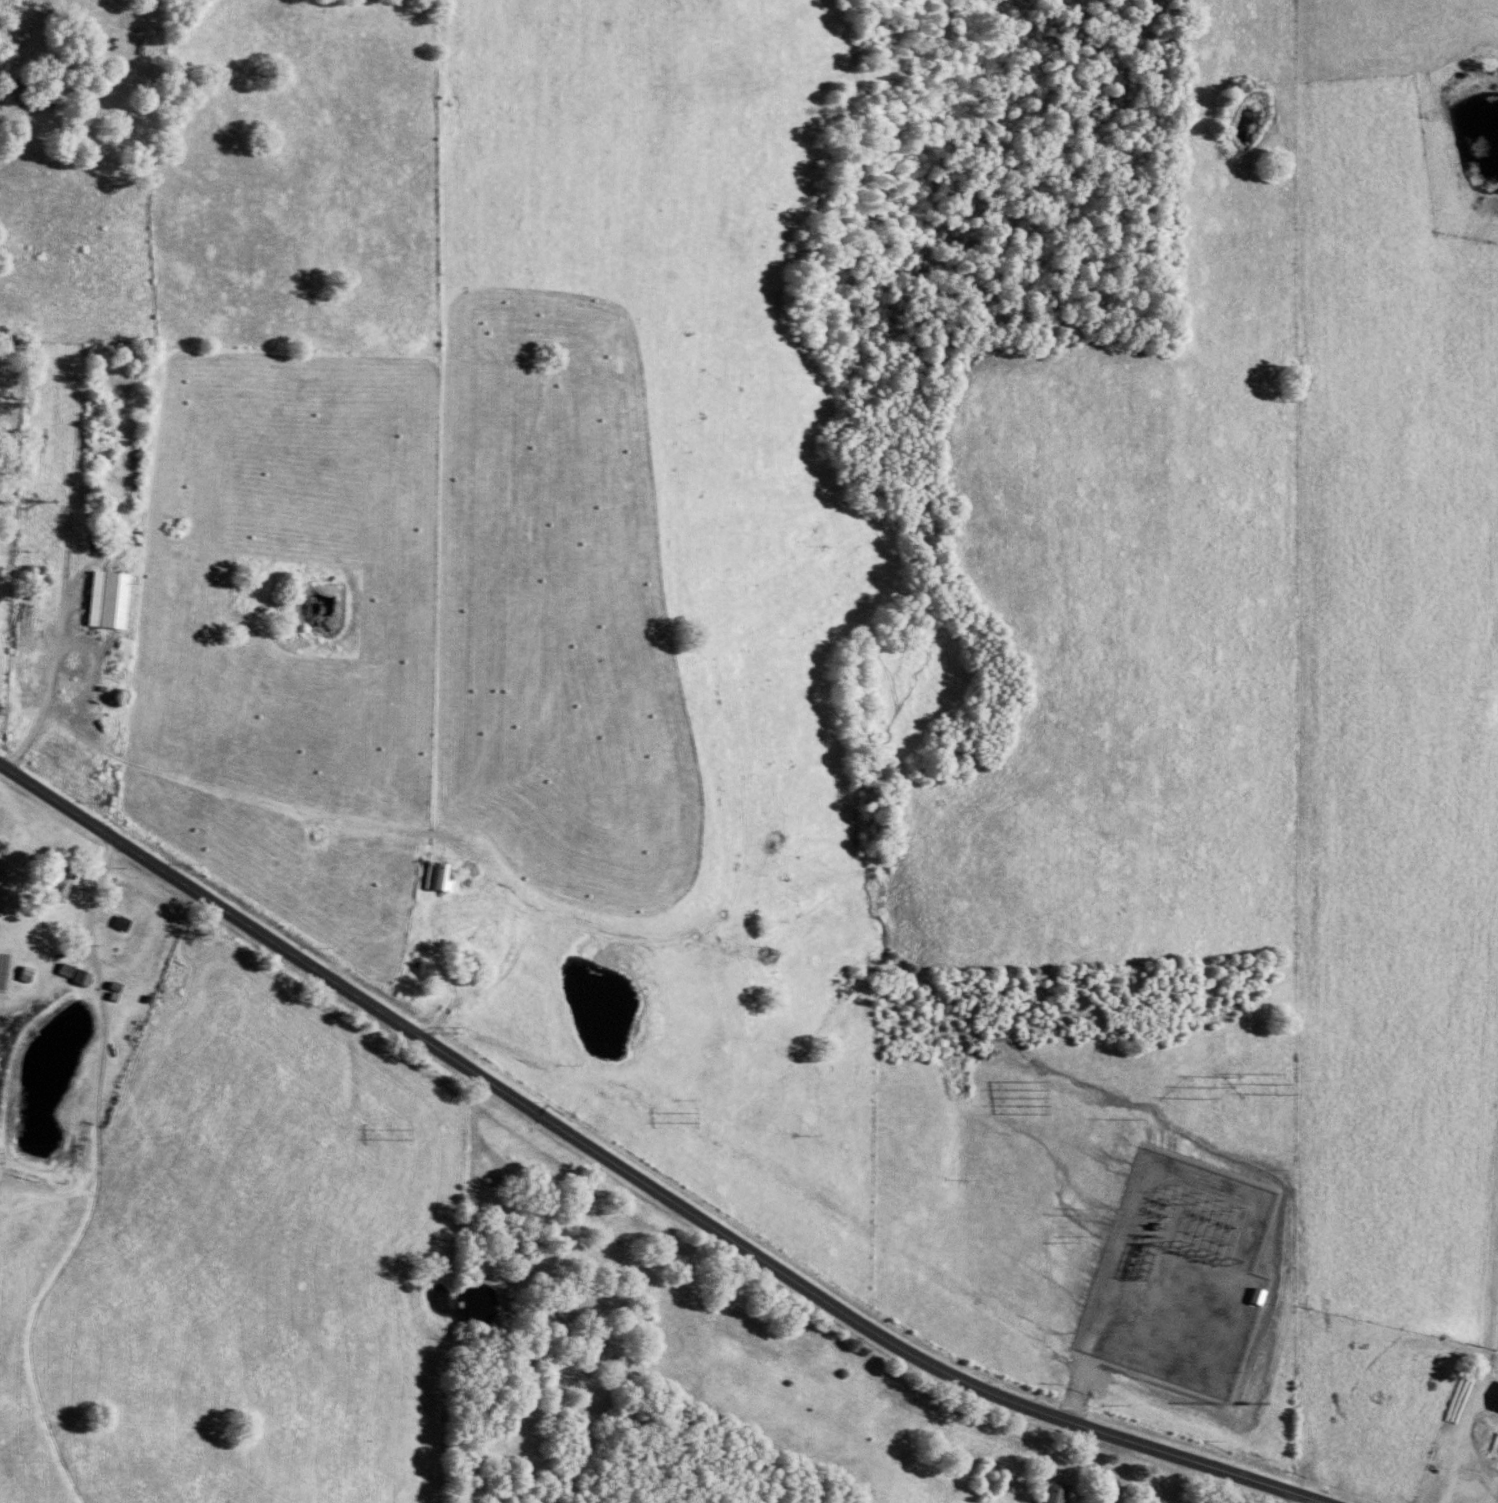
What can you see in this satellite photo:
road: (92, 104)
building: (116, 599)
road: (65, 647)
road: (25, 746)
building: (67, 881)
road: (91, 904)
power tower: (1212, 1090)
power tower: (1275, 1090)
power tower: (1036, 1100)
road: (473, 1102)
power tower: (684, 1121)
power tower: (398, 1138)
road: (635, 1179)
road: (475, 1192)
power substation: (1179, 1276)
road: (1106, 1307)
building: (1061, 1492)
road: (1307, 1501)

